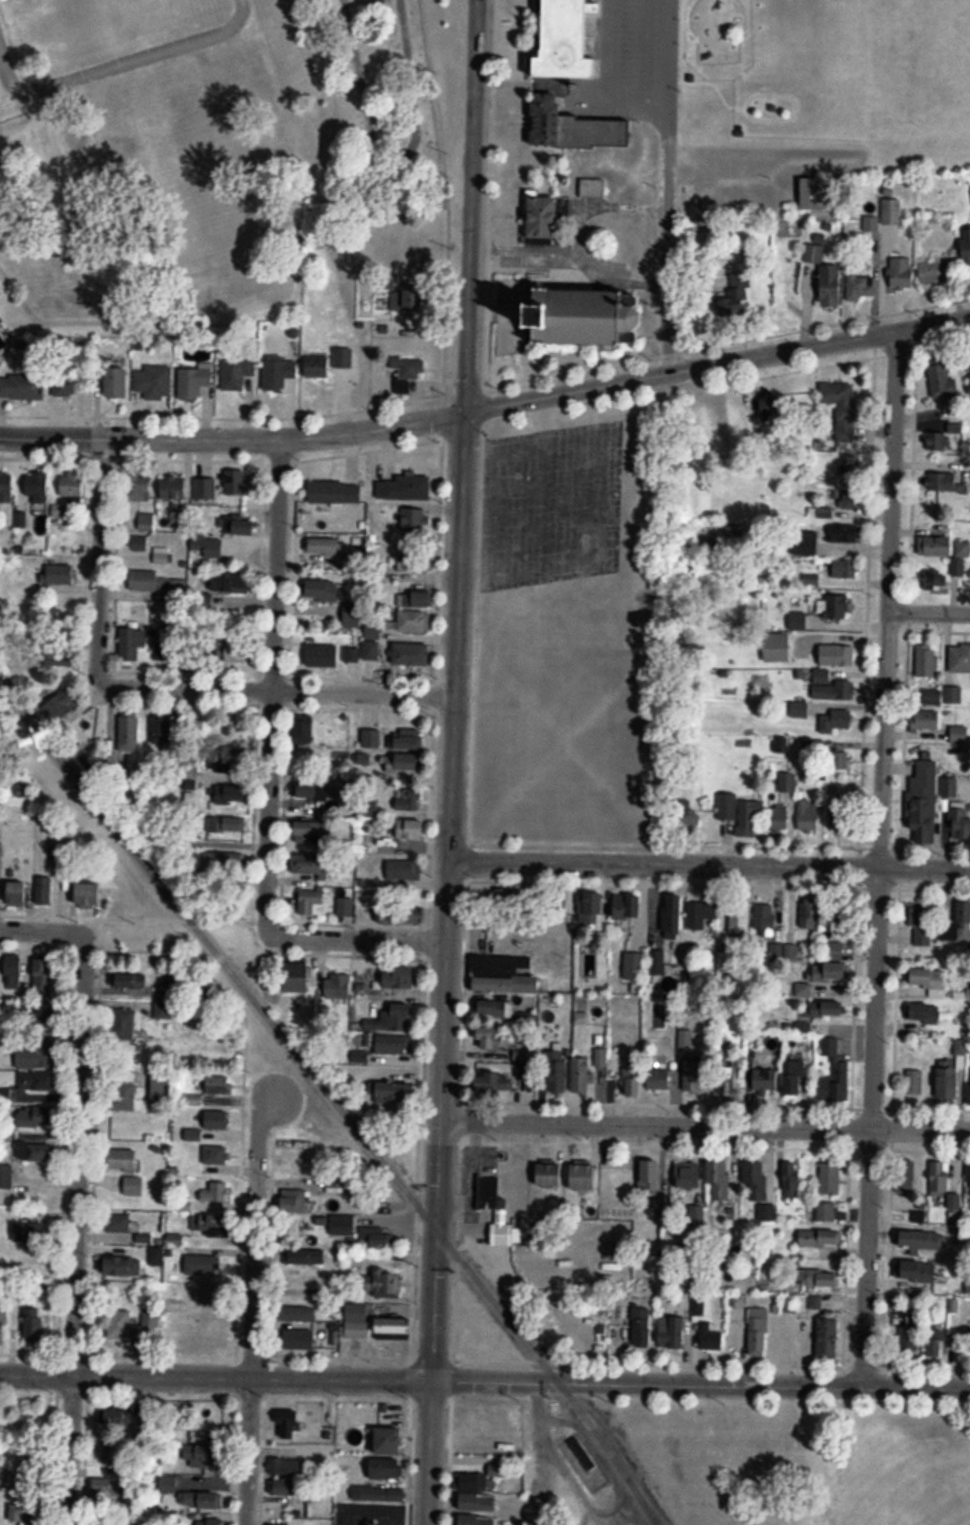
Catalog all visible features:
building: (574, 41)
road: (124, 62)
building: (550, 118)
park: (214, 138)
road: (660, 184)
building: (593, 187)
building: (821, 192)
road: (473, 203)
building: (546, 216)
building: (966, 246)
building: (814, 253)
building: (936, 272)
building: (900, 273)
building: (865, 283)
building: (830, 285)
building: (410, 297)
building: (724, 302)
building: (588, 315)
building: (511, 333)
road: (717, 356)
building: (347, 362)
building: (317, 366)
building: (409, 370)
building: (279, 372)
building: (237, 373)
building: (942, 379)
building: (66, 382)
building: (154, 382)
building: (194, 382)
building: (115, 383)
building: (22, 387)
building: (842, 404)
building: (773, 407)
road: (233, 436)
building: (838, 458)
building: (72, 484)
building: (945, 484)
building: (139, 486)
building: (37, 487)
building: (221, 487)
building: (7, 488)
building: (174, 488)
building: (406, 488)
building: (335, 492)
building: (850, 499)
building: (414, 520)
building: (147, 522)
building: (241, 526)
building: (847, 534)
building: (138, 544)
building: (328, 546)
building: (948, 546)
building: (207, 548)
building: (161, 555)
road: (98, 556)
building: (416, 562)
building: (955, 567)
building: (844, 568)
building: (62, 575)
building: (936, 581)
building: (231, 582)
building: (159, 584)
building: (324, 590)
building: (834, 606)
road: (928, 607)
building: (353, 615)
building: (799, 620)
building: (415, 621)
road: (455, 629)
building: (373, 630)
building: (131, 645)
building: (778, 647)
building: (166, 648)
building: (238, 651)
building: (371, 651)
building: (412, 654)
building: (837, 654)
building: (322, 656)
building: (959, 658)
building: (58, 663)
road: (272, 685)
building: (831, 687)
road: (276, 688)
building: (953, 695)
building: (936, 697)
building: (59, 707)
building: (926, 719)
building: (836, 721)
building: (305, 726)
building: (128, 730)
building: (162, 730)
building: (959, 734)
building: (371, 739)
building: (408, 739)
building: (236, 757)
building: (838, 760)
building: (405, 763)
building: (231, 790)
building: (312, 791)
building: (406, 802)
building: (923, 802)
building: (741, 814)
building: (810, 815)
building: (843, 817)
building: (689, 819)
building: (960, 820)
building: (228, 824)
building: (412, 830)
building: (309, 832)
road: (880, 852)
road: (709, 859)
building: (223, 860)
building: (308, 864)
building: (404, 870)
building: (44, 890)
building: (20, 893)
building: (90, 895)
building: (514, 896)
building: (310, 901)
building: (345, 907)
building: (591, 907)
building: (624, 911)
building: (403, 916)
building: (673, 916)
building: (703, 916)
building: (809, 916)
building: (739, 919)
building: (766, 920)
building: (922, 924)
building: (957, 925)
road: (43, 931)
road: (353, 935)
building: (657, 962)
building: (634, 966)
building: (14, 970)
building: (833, 972)
building: (50, 977)
building: (296, 977)
building: (502, 978)
building: (926, 978)
building: (400, 979)
building: (134, 981)
building: (336, 986)
building: (169, 1000)
building: (835, 1007)
building: (497, 1008)
building: (926, 1011)
building: (396, 1017)
building: (527, 1020)
building: (123, 1024)
building: (489, 1038)
building: (396, 1044)
building: (35, 1052)
building: (520, 1055)
building: (581, 1075)
building: (631, 1075)
building: (695, 1076)
building: (553, 1079)
building: (661, 1079)
building: (786, 1080)
building: (36, 1081)
building: (914, 1081)
building: (497, 1082)
building: (948, 1082)
building: (836, 1083)
building: (219, 1085)
building: (161, 1091)
building: (396, 1094)
building: (122, 1096)
railway: (334, 1100)
building: (35, 1118)
building: (217, 1119)
road: (705, 1123)
building: (35, 1151)
building: (216, 1155)
building: (124, 1159)
building: (551, 1174)
building: (688, 1175)
building: (585, 1176)
building: (651, 1176)
building: (792, 1176)
building: (6, 1177)
building: (967, 1177)
building: (940, 1178)
building: (830, 1179)
building: (720, 1181)
building: (758, 1181)
building: (134, 1186)
road: (439, 1189)
building: (217, 1192)
building: (489, 1192)
building: (293, 1201)
building: (827, 1212)
building: (696, 1214)
building: (117, 1223)
building: (213, 1224)
building: (335, 1225)
road: (78, 1229)
building: (29, 1233)
building: (503, 1235)
building: (375, 1237)
building: (820, 1238)
building: (924, 1243)
building: (308, 1256)
building: (123, 1266)
building: (204, 1266)
building: (921, 1272)
building: (822, 1278)
building: (383, 1283)
building: (814, 1301)
building: (297, 1313)
road: (252, 1317)
building: (151, 1318)
building: (358, 1321)
building: (706, 1323)
building: (3, 1325)
building: (35, 1325)
building: (120, 1325)
building: (641, 1326)
building: (393, 1328)
building: (914, 1328)
building: (756, 1330)
building: (673, 1331)
building: (828, 1338)
building: (300, 1339)
building: (935, 1344)
building: (966, 1345)
road: (214, 1373)
road: (698, 1382)
road: (772, 1396)
building: (118, 1416)
building: (289, 1425)
building: (391, 1441)
building: (203, 1455)
park: (794, 1460)
building: (289, 1466)
building: (474, 1481)
building: (288, 1487)
building: (100, 1490)
railway: (640, 1500)
building: (211, 1502)
building: (479, 1502)
building: (25, 1513)
building: (210, 1523)
park: (966, 1523)
building: (290, 1524)

